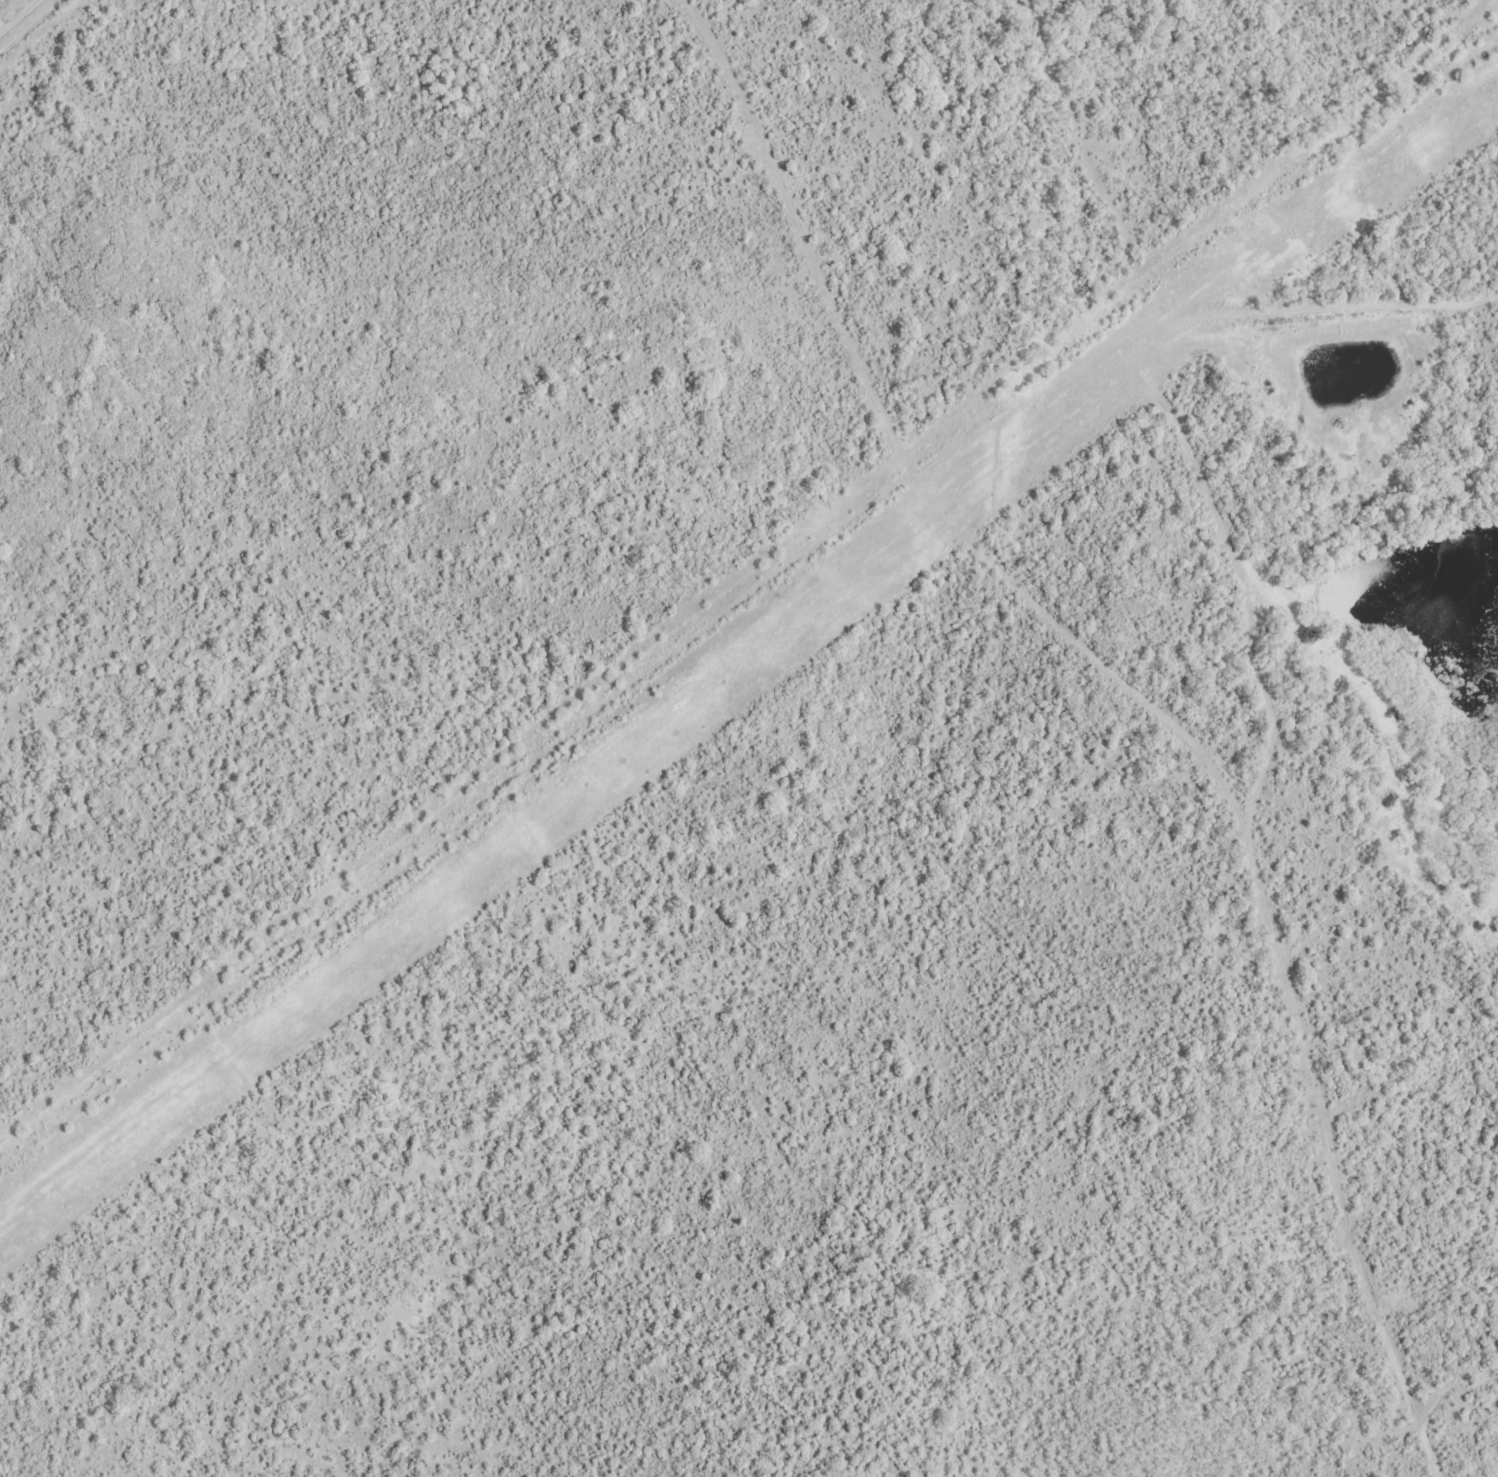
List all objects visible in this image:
road: (1458, 335)

